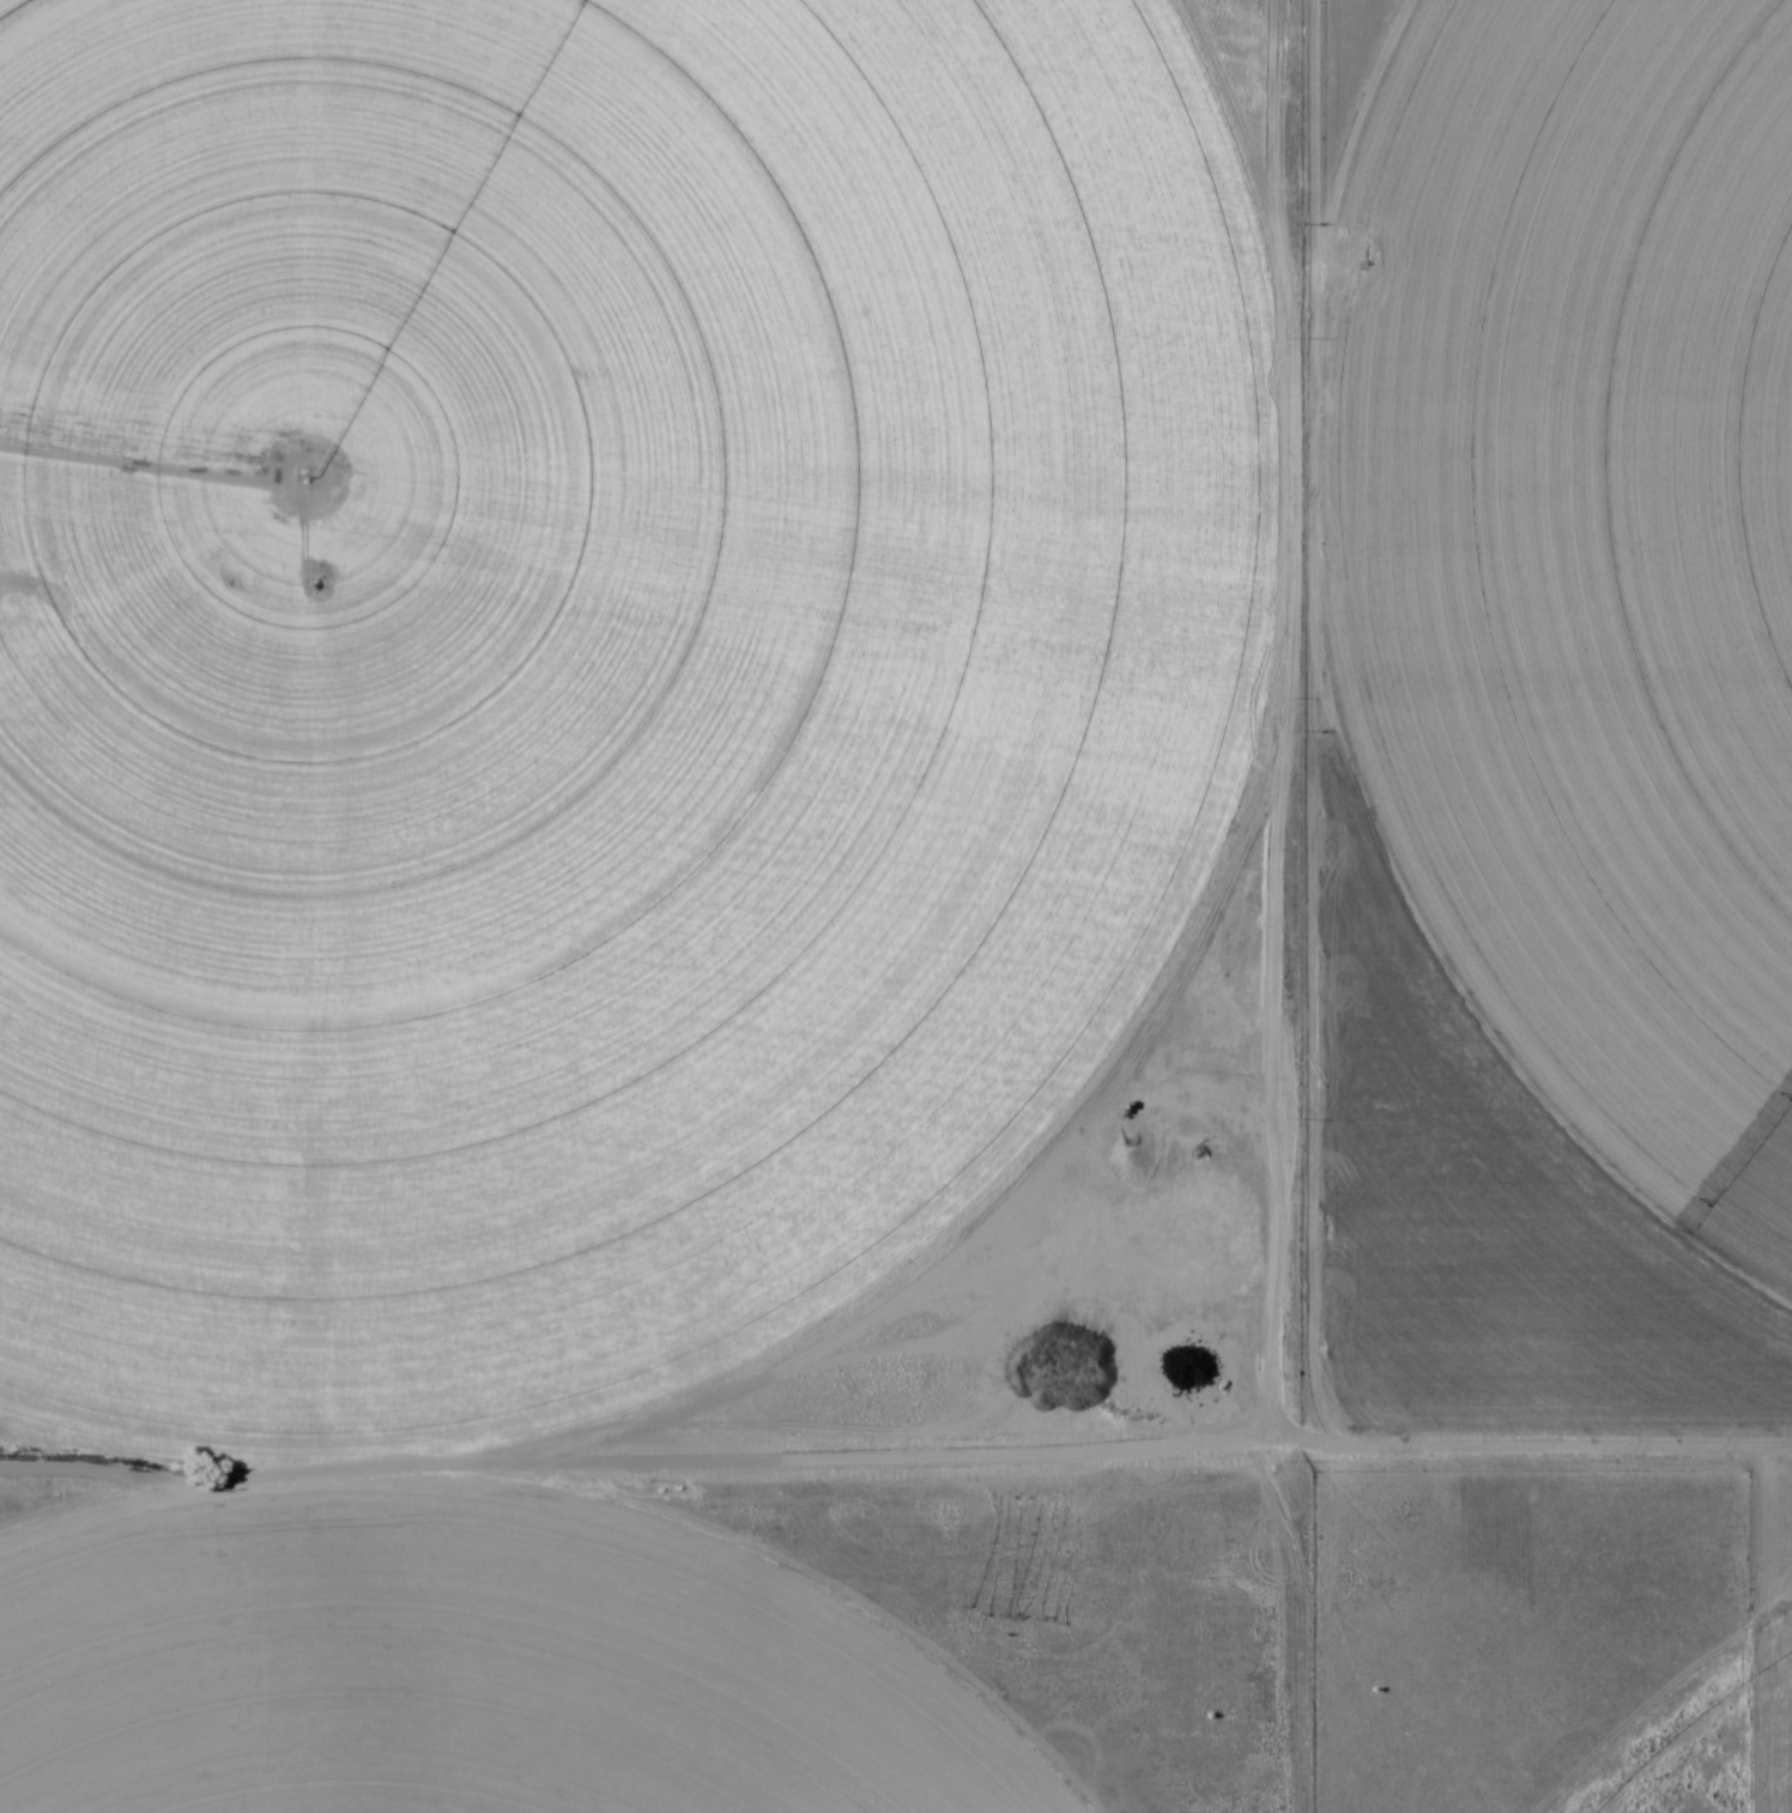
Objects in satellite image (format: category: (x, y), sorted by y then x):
road: (1290, 712)
road: (895, 1432)

